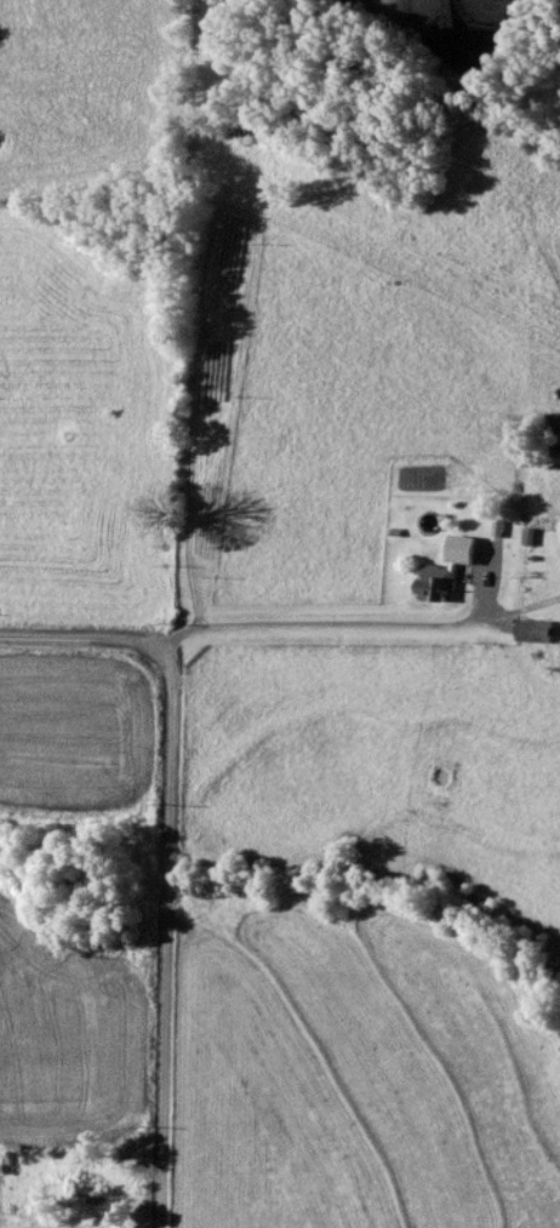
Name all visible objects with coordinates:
road: (240, 516)
building: (439, 584)
building: (537, 633)
road: (164, 859)
building: (95, 1186)

